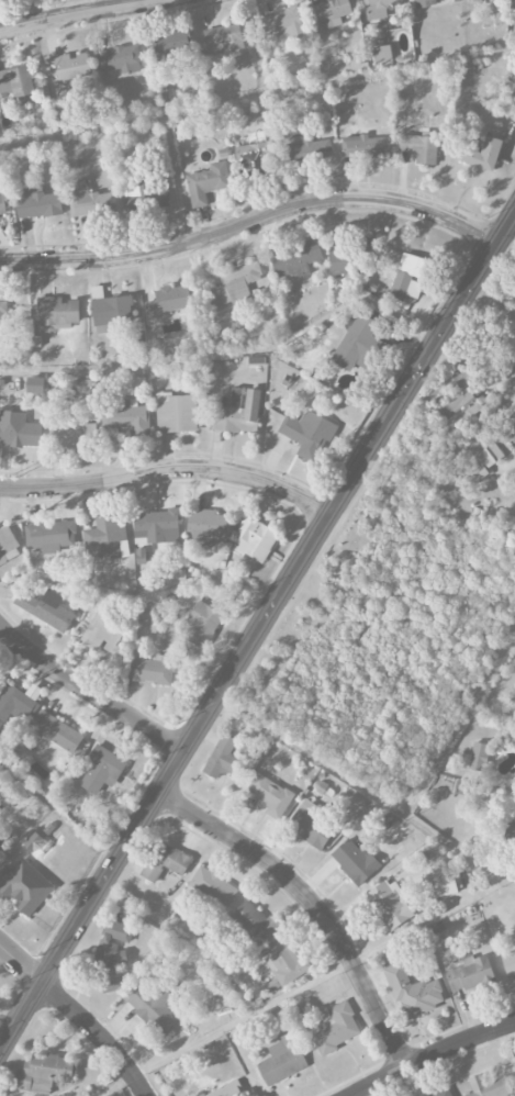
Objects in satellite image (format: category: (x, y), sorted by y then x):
building: (429, 1)
building: (378, 8)
road: (79, 12)
building: (331, 12)
building: (282, 27)
building: (223, 38)
building: (168, 45)
building: (382, 55)
building: (120, 59)
building: (68, 67)
building: (19, 82)
building: (510, 83)
road: (257, 97)
building: (363, 146)
building: (419, 147)
building: (306, 148)
building: (482, 154)
building: (257, 156)
building: (208, 182)
building: (145, 197)
building: (90, 202)
building: (37, 203)
building: (2, 205)
road: (251, 221)
road: (184, 234)
building: (294, 259)
building: (352, 259)
building: (408, 276)
building: (234, 287)
building: (168, 301)
building: (2, 309)
building: (57, 312)
building: (356, 343)
road: (231, 349)
road: (471, 361)
building: (35, 385)
building: (462, 405)
building: (238, 412)
building: (176, 413)
building: (126, 416)
building: (508, 424)
building: (18, 429)
building: (71, 433)
building: (307, 434)
road: (513, 457)
building: (484, 462)
road: (169, 471)
building: (157, 527)
building: (209, 528)
building: (51, 535)
building: (108, 537)
building: (254, 539)
building: (7, 545)
road: (139, 594)
building: (46, 608)
building: (146, 611)
building: (201, 625)
road: (257, 631)
building: (103, 634)
building: (155, 670)
road: (89, 693)
building: (15, 702)
road: (460, 727)
building: (56, 731)
building: (475, 757)
building: (223, 759)
building: (102, 770)
road: (366, 791)
building: (270, 795)
road: (57, 810)
building: (310, 825)
building: (510, 831)
building: (3, 838)
building: (33, 841)
building: (166, 861)
building: (355, 861)
building: (447, 884)
building: (25, 886)
building: (212, 888)
road: (313, 903)
building: (390, 904)
building: (254, 920)
building: (112, 954)
building: (284, 961)
building: (508, 962)
building: (470, 973)
road: (298, 988)
building: (413, 991)
building: (155, 1005)
road: (77, 1015)
building: (336, 1028)
road: (433, 1055)
building: (281, 1061)
building: (514, 1064)
building: (44, 1072)
building: (489, 1087)
building: (444, 1093)

